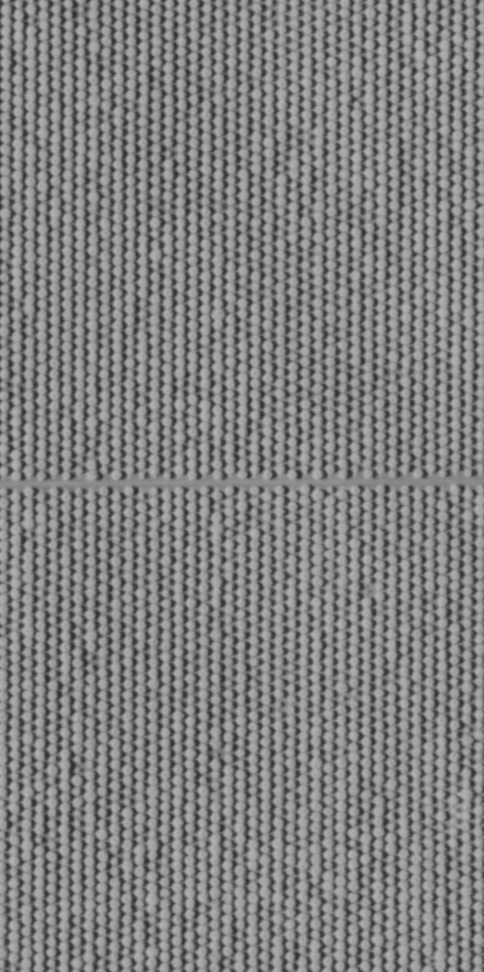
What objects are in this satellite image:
road: (242, 481)

